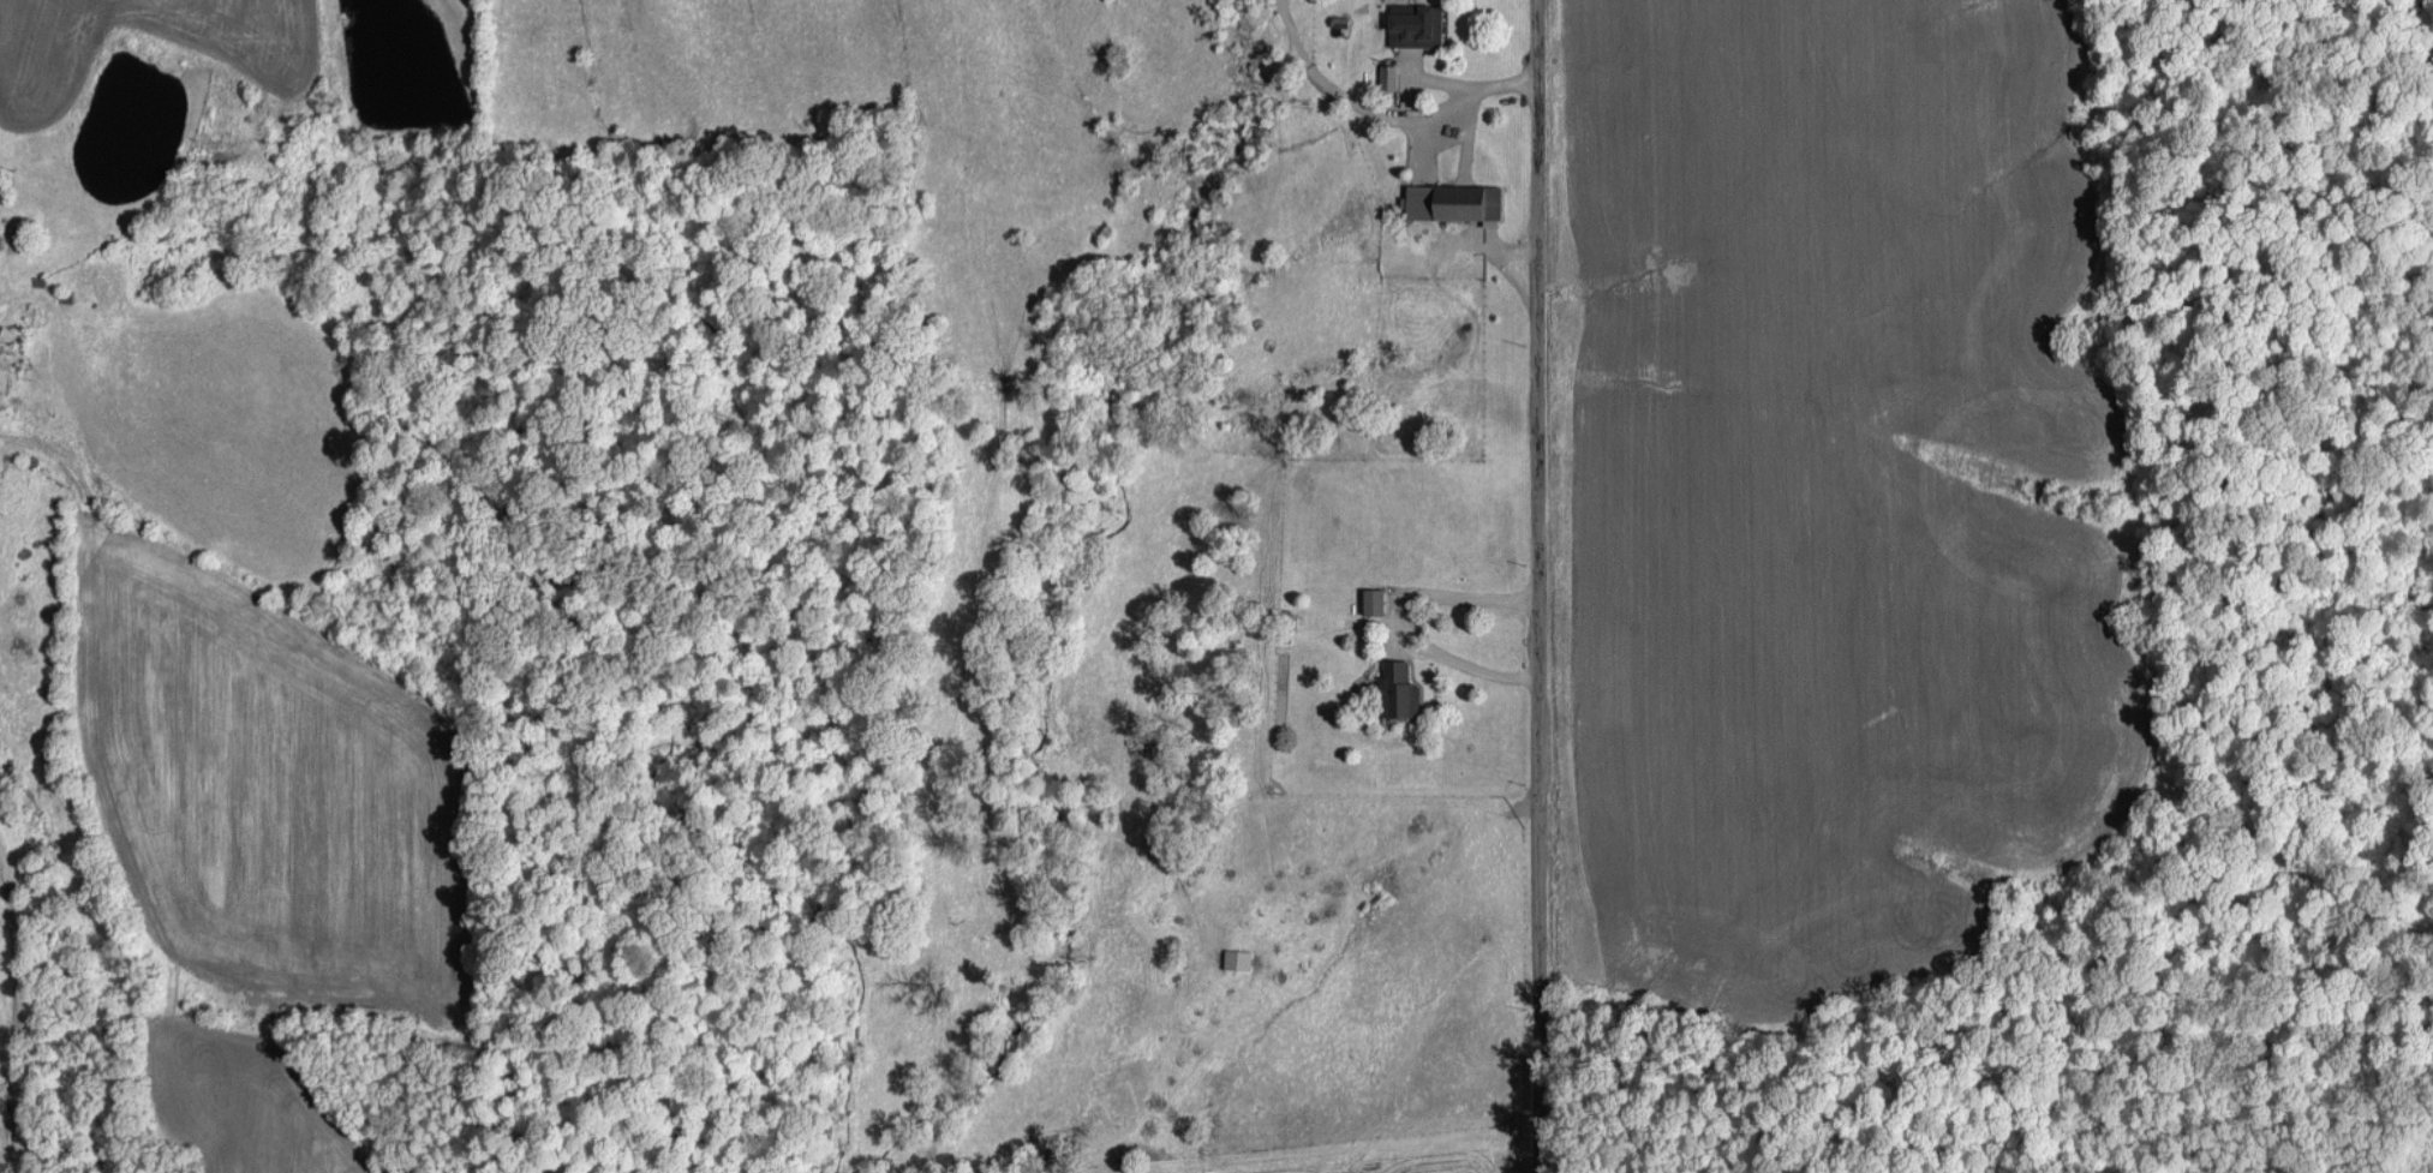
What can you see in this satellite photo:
building: (1418, 26)
building: (1389, 76)
road: (1382, 113)
building: (1454, 202)
road: (1536, 586)
building: (1375, 602)
road: (1399, 620)
building: (1399, 692)
building: (1239, 958)

